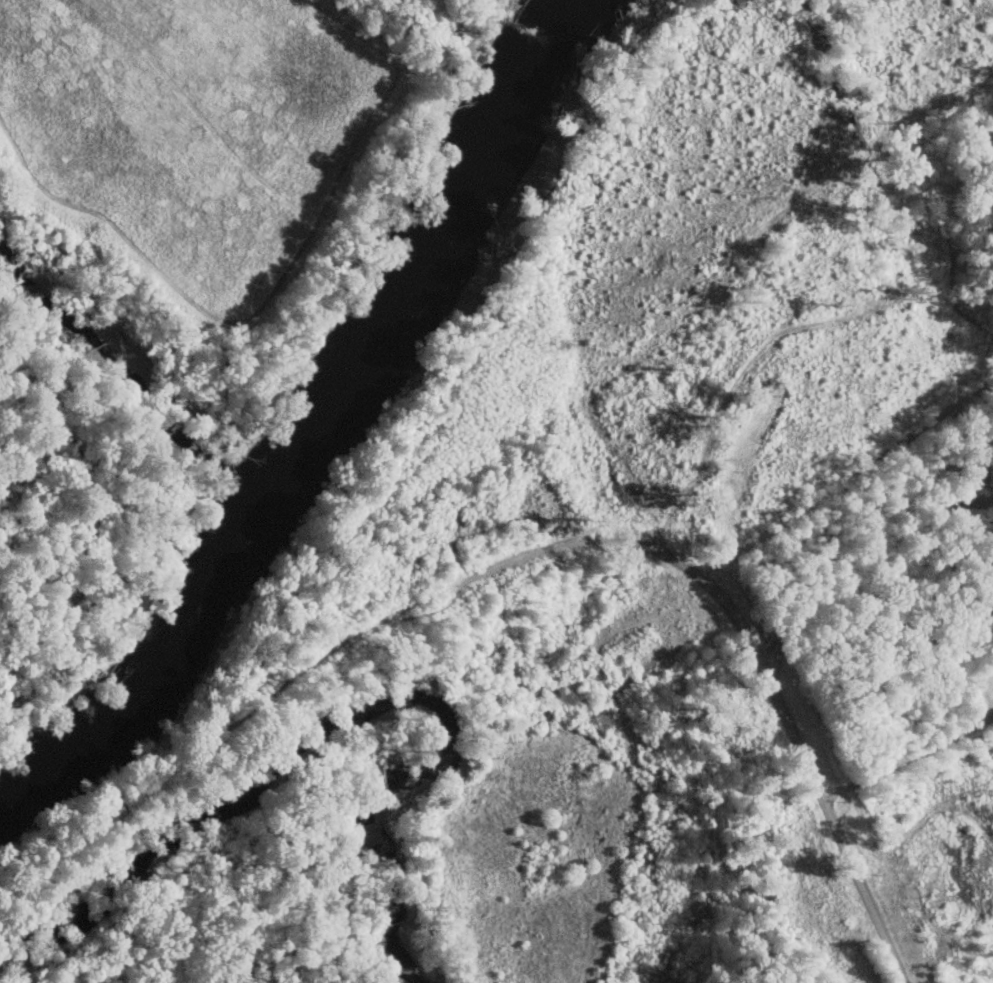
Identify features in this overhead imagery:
river: (429, 241)
road: (842, 542)
road: (761, 656)
river: (161, 675)
road: (225, 731)
road: (909, 758)

